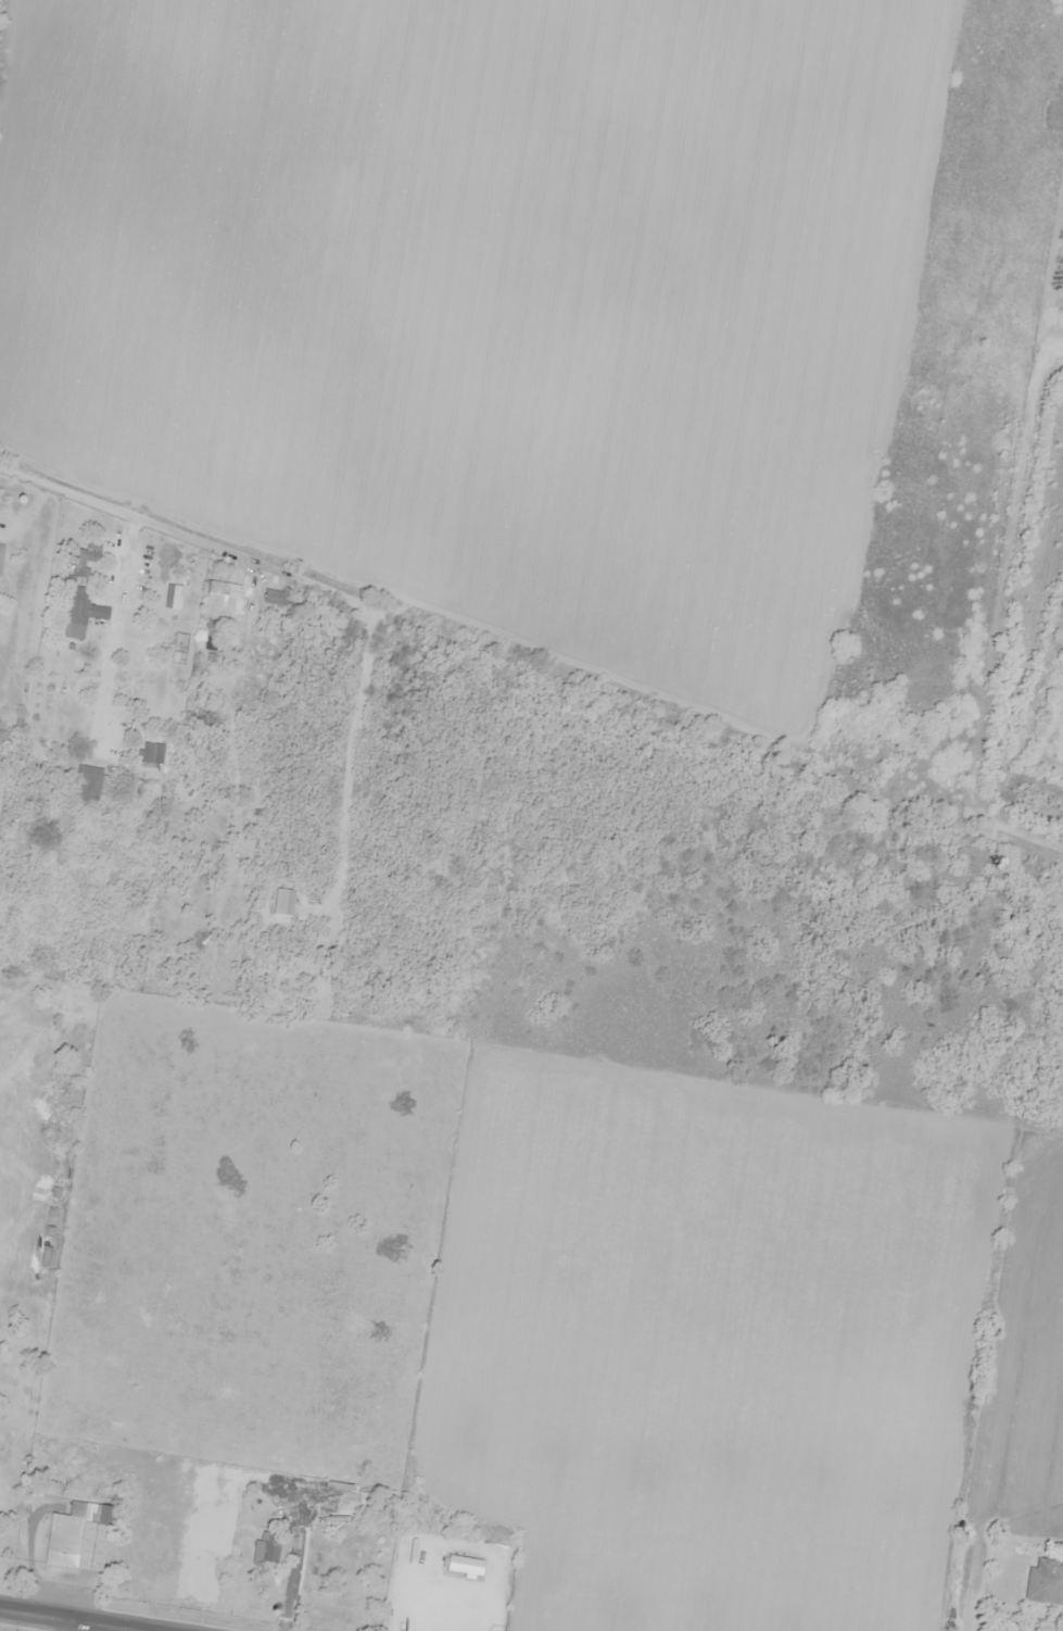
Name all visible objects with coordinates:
building: (1, 552)
building: (85, 560)
building: (276, 597)
building: (173, 598)
building: (236, 610)
building: (83, 614)
building: (213, 637)
building: (179, 649)
building: (151, 753)
building: (284, 902)
building: (45, 1257)
building: (334, 1520)
building: (78, 1538)
building: (266, 1550)
building: (464, 1567)
building: (1045, 1584)
building: (316, 1601)
road: (73, 1619)

